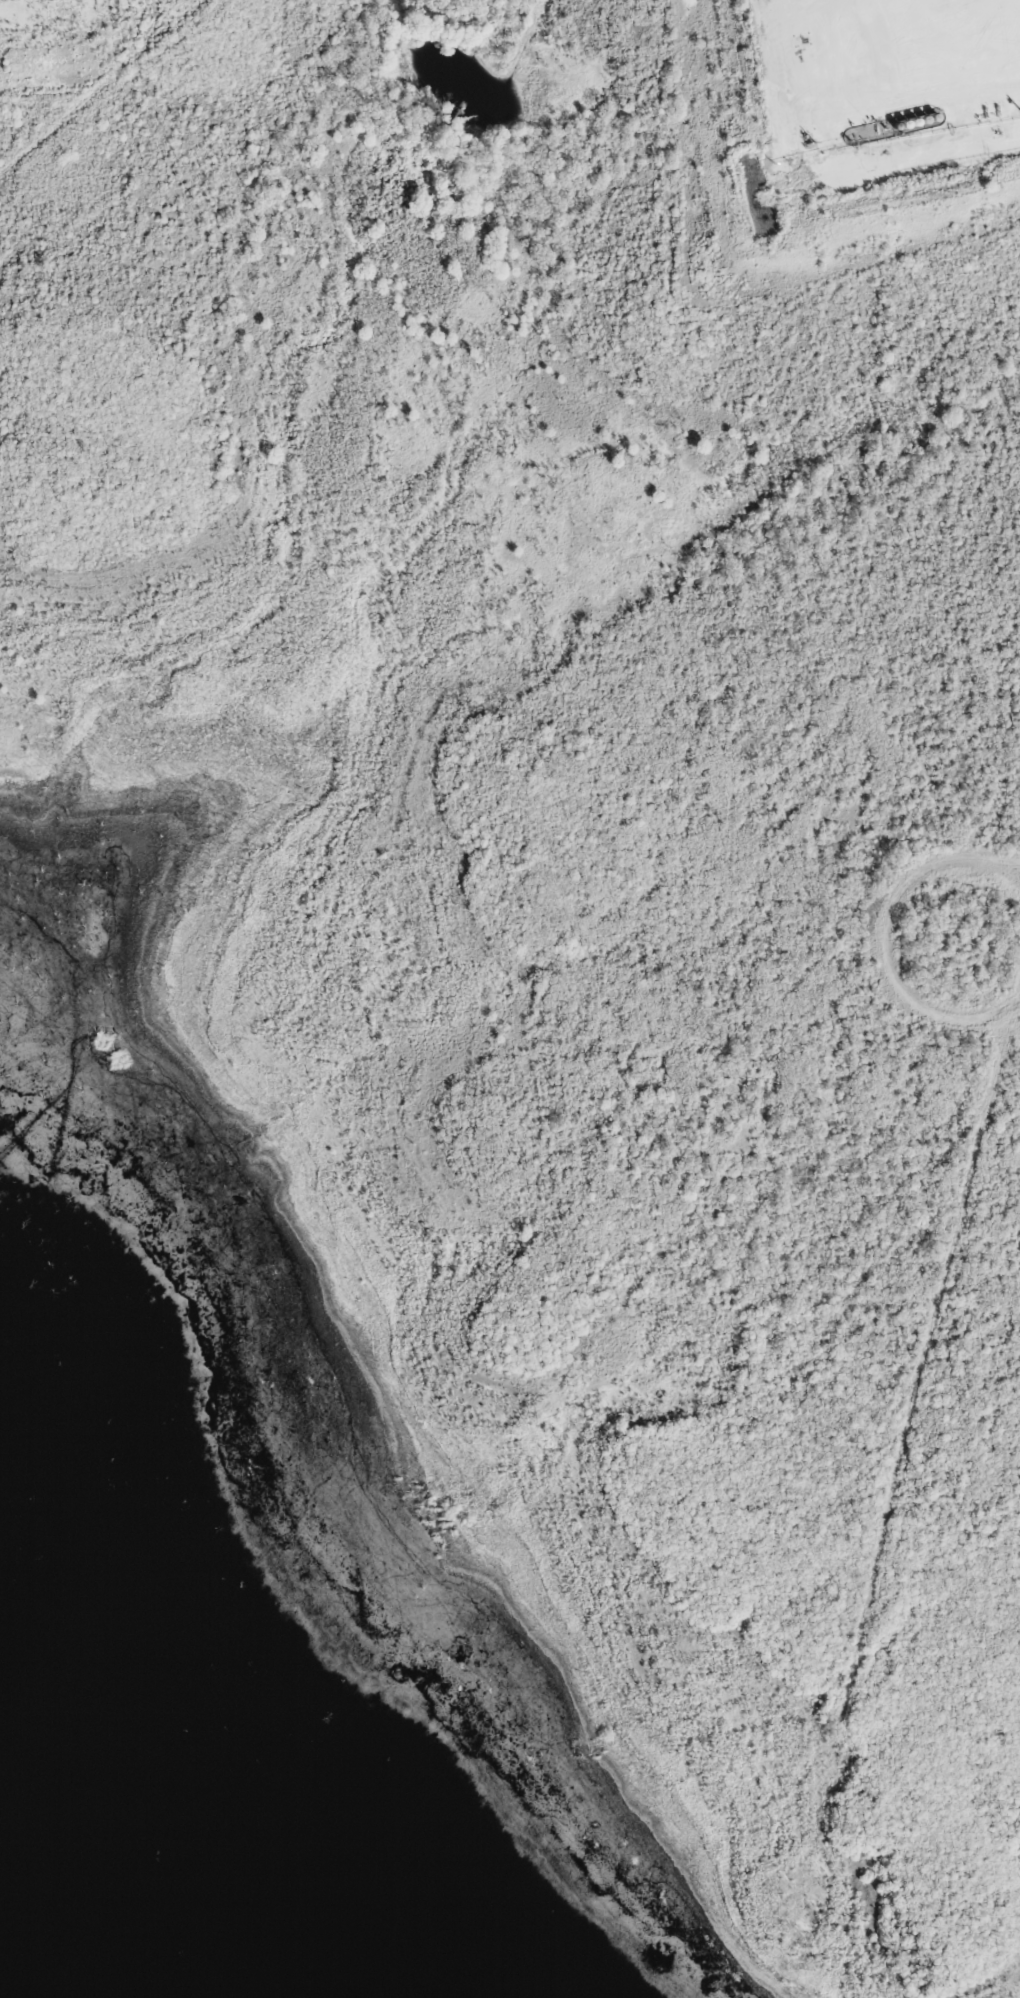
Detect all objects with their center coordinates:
road: (879, 943)

